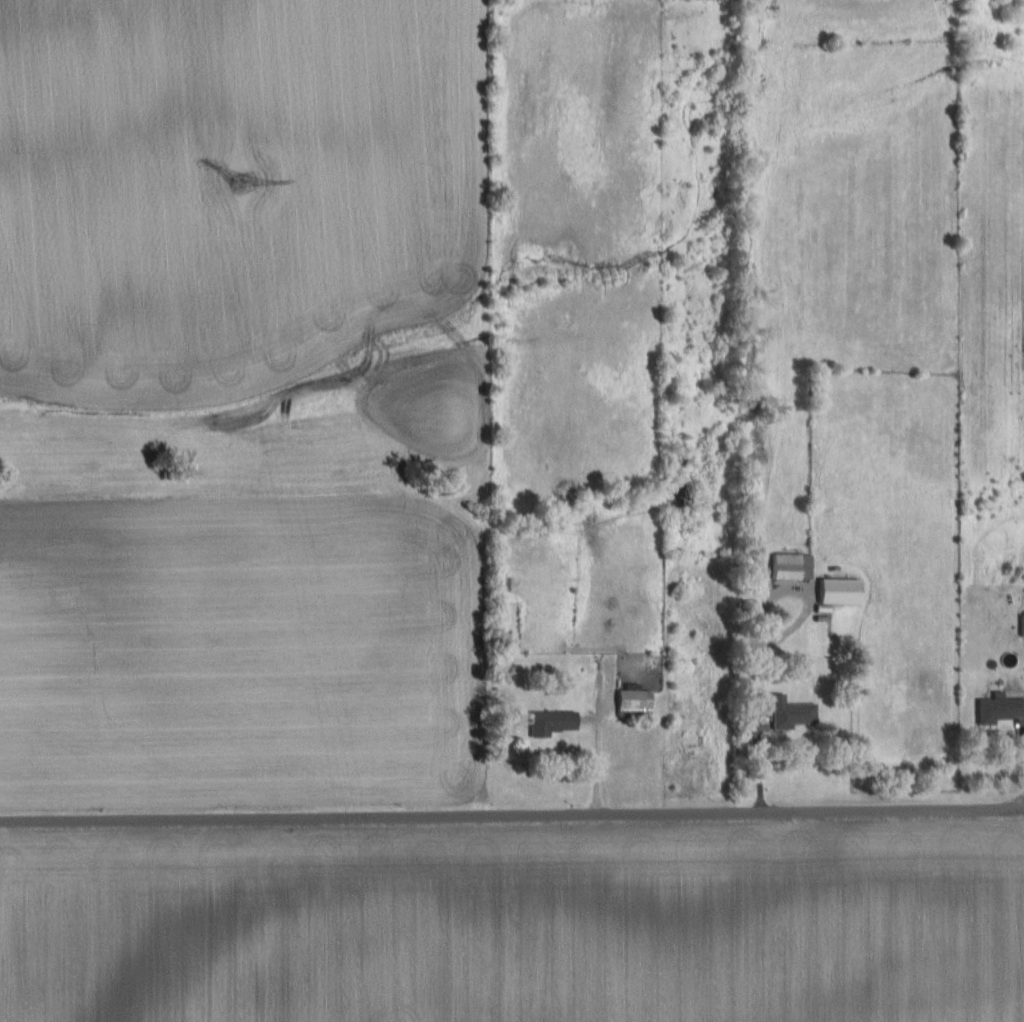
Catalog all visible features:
power tower: (243, 203)
building: (792, 566)
building: (840, 590)
building: (1022, 626)
road: (751, 640)
building: (634, 701)
building: (1000, 708)
building: (791, 713)
building: (553, 722)
road: (596, 749)
road: (511, 811)

